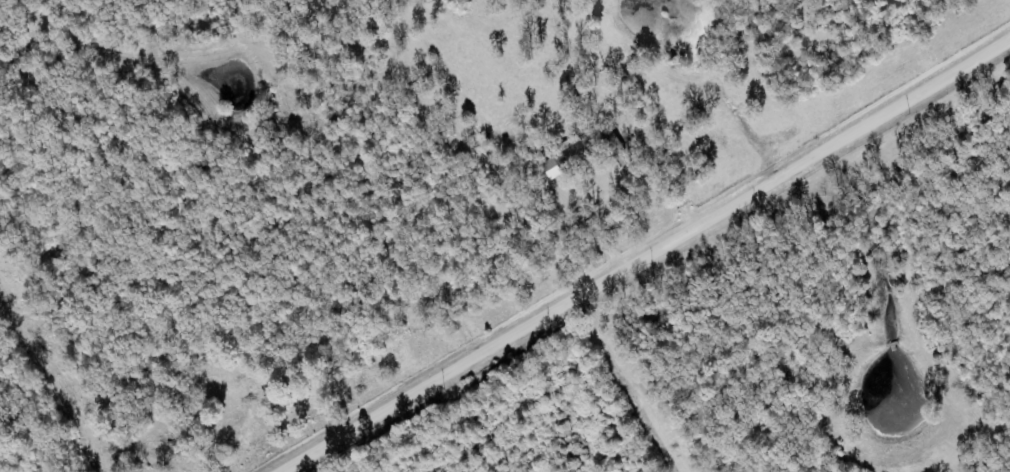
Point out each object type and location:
building: (569, 157)
road: (650, 257)

